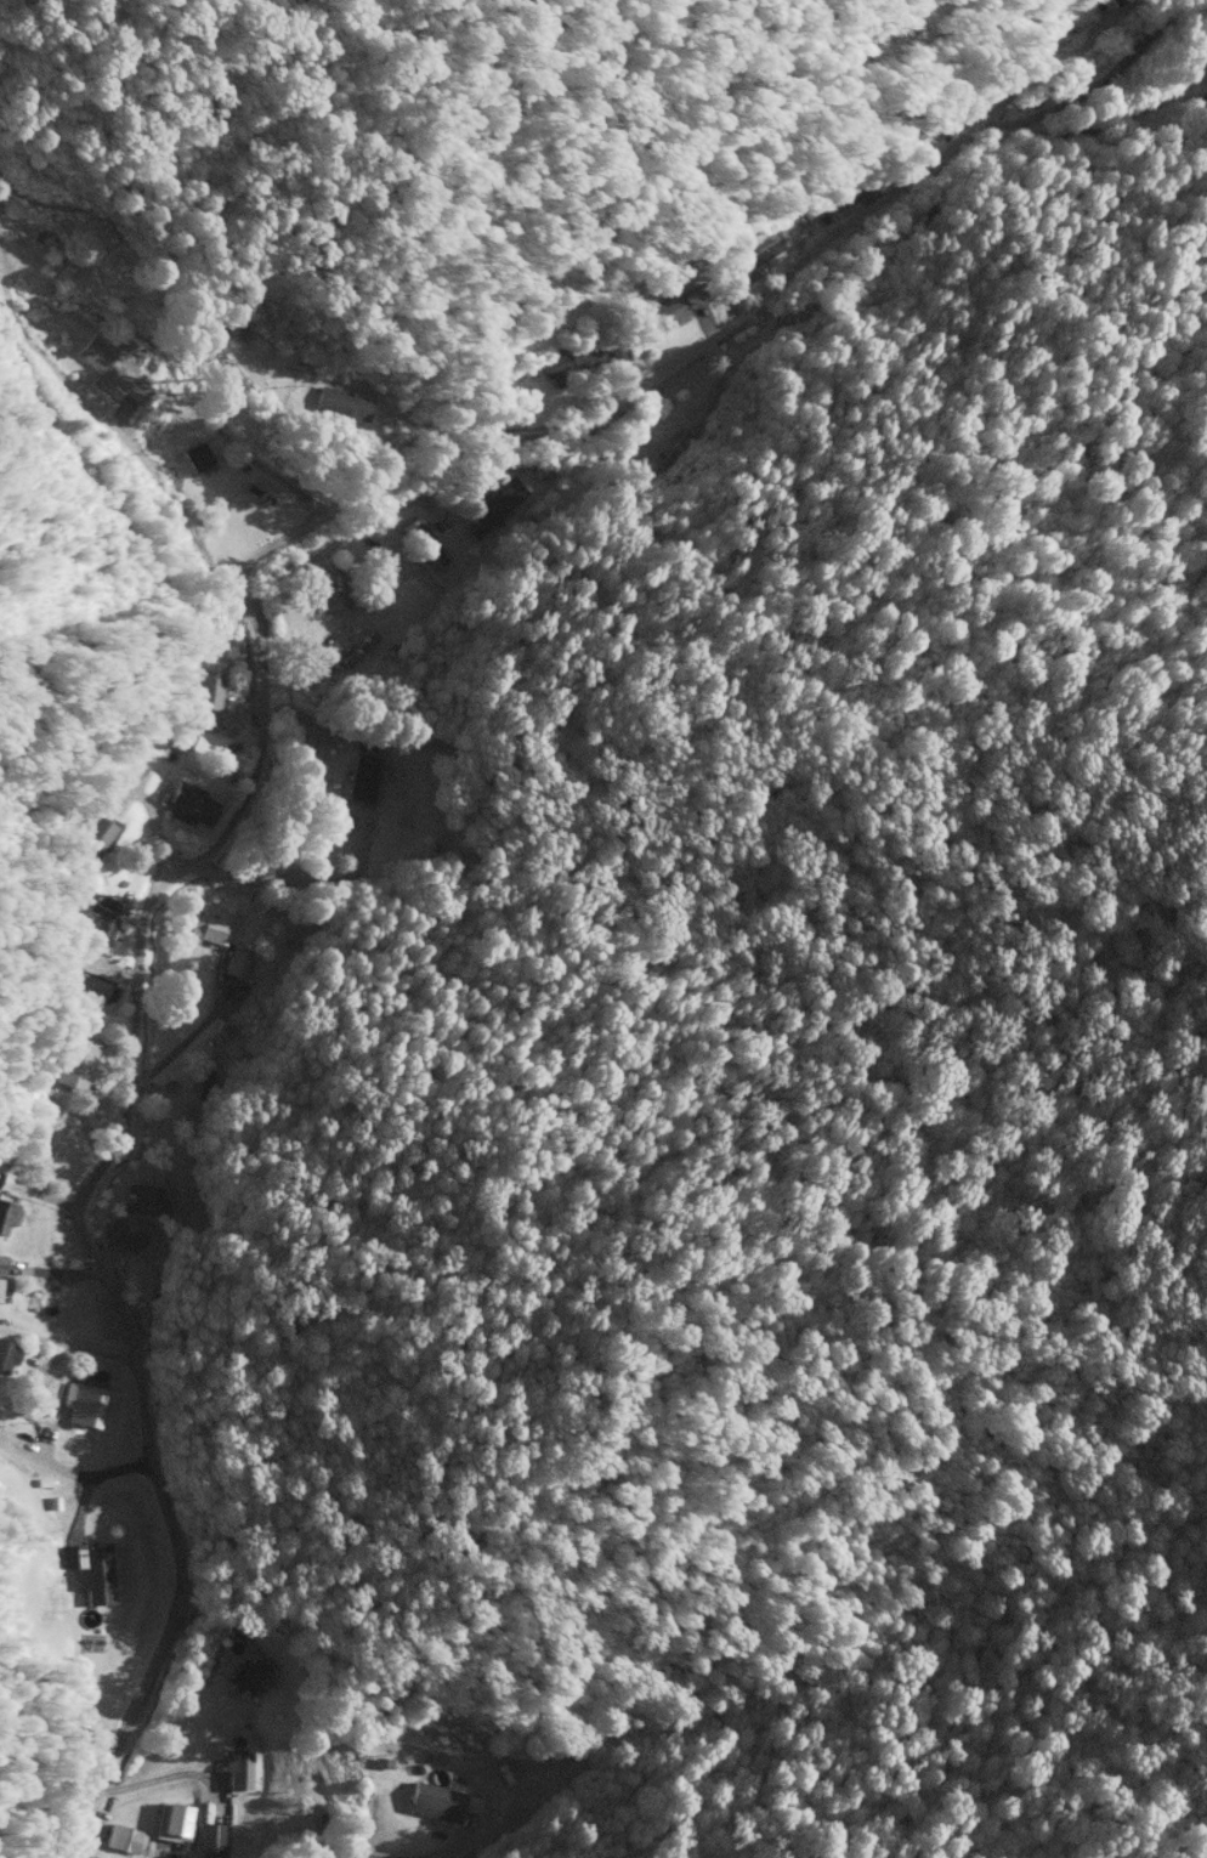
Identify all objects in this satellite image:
building: (663, 317)
road: (726, 334)
road: (127, 444)
road: (130, 1061)
building: (146, 1201)
road: (70, 1348)
building: (431, 1805)
road: (465, 1846)

